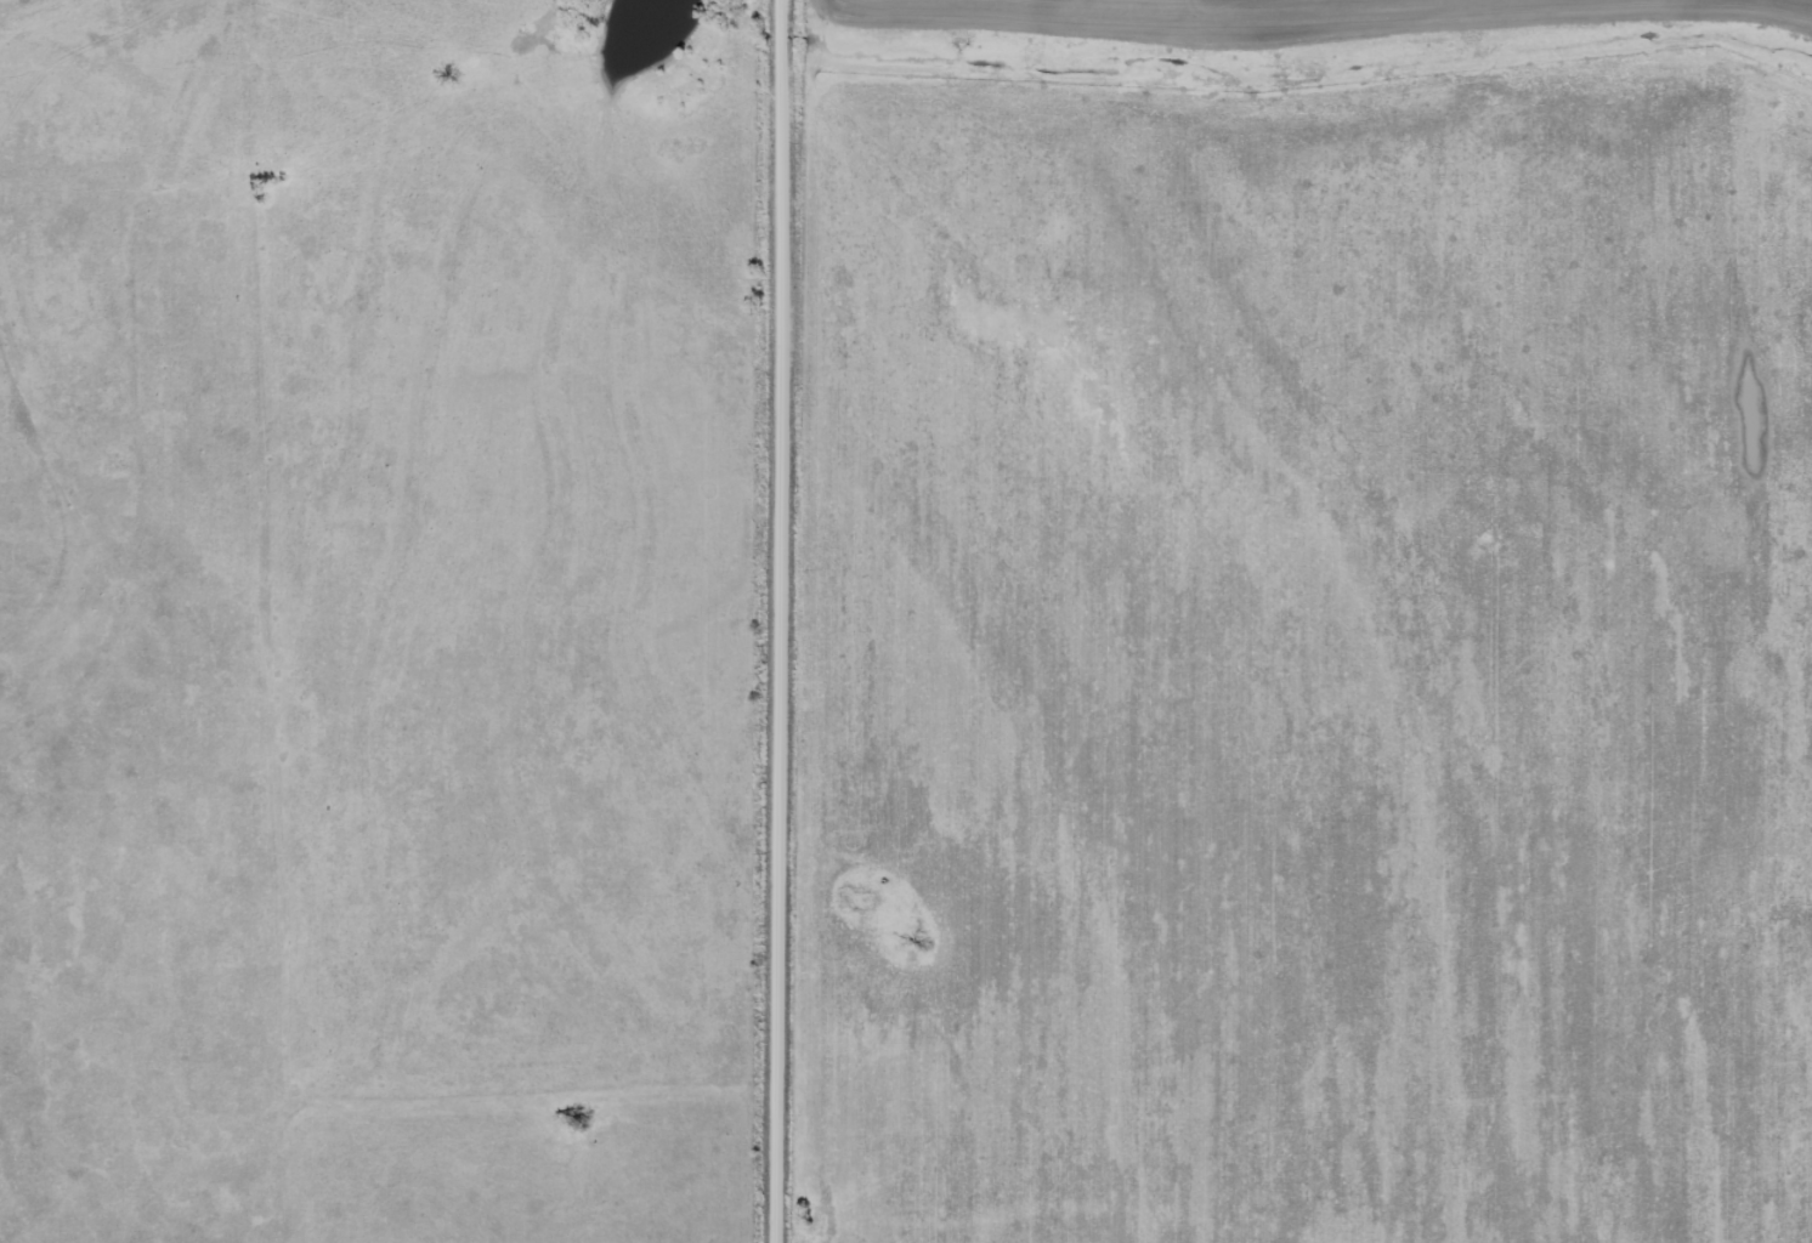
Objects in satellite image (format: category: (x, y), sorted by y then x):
road: (783, 621)

